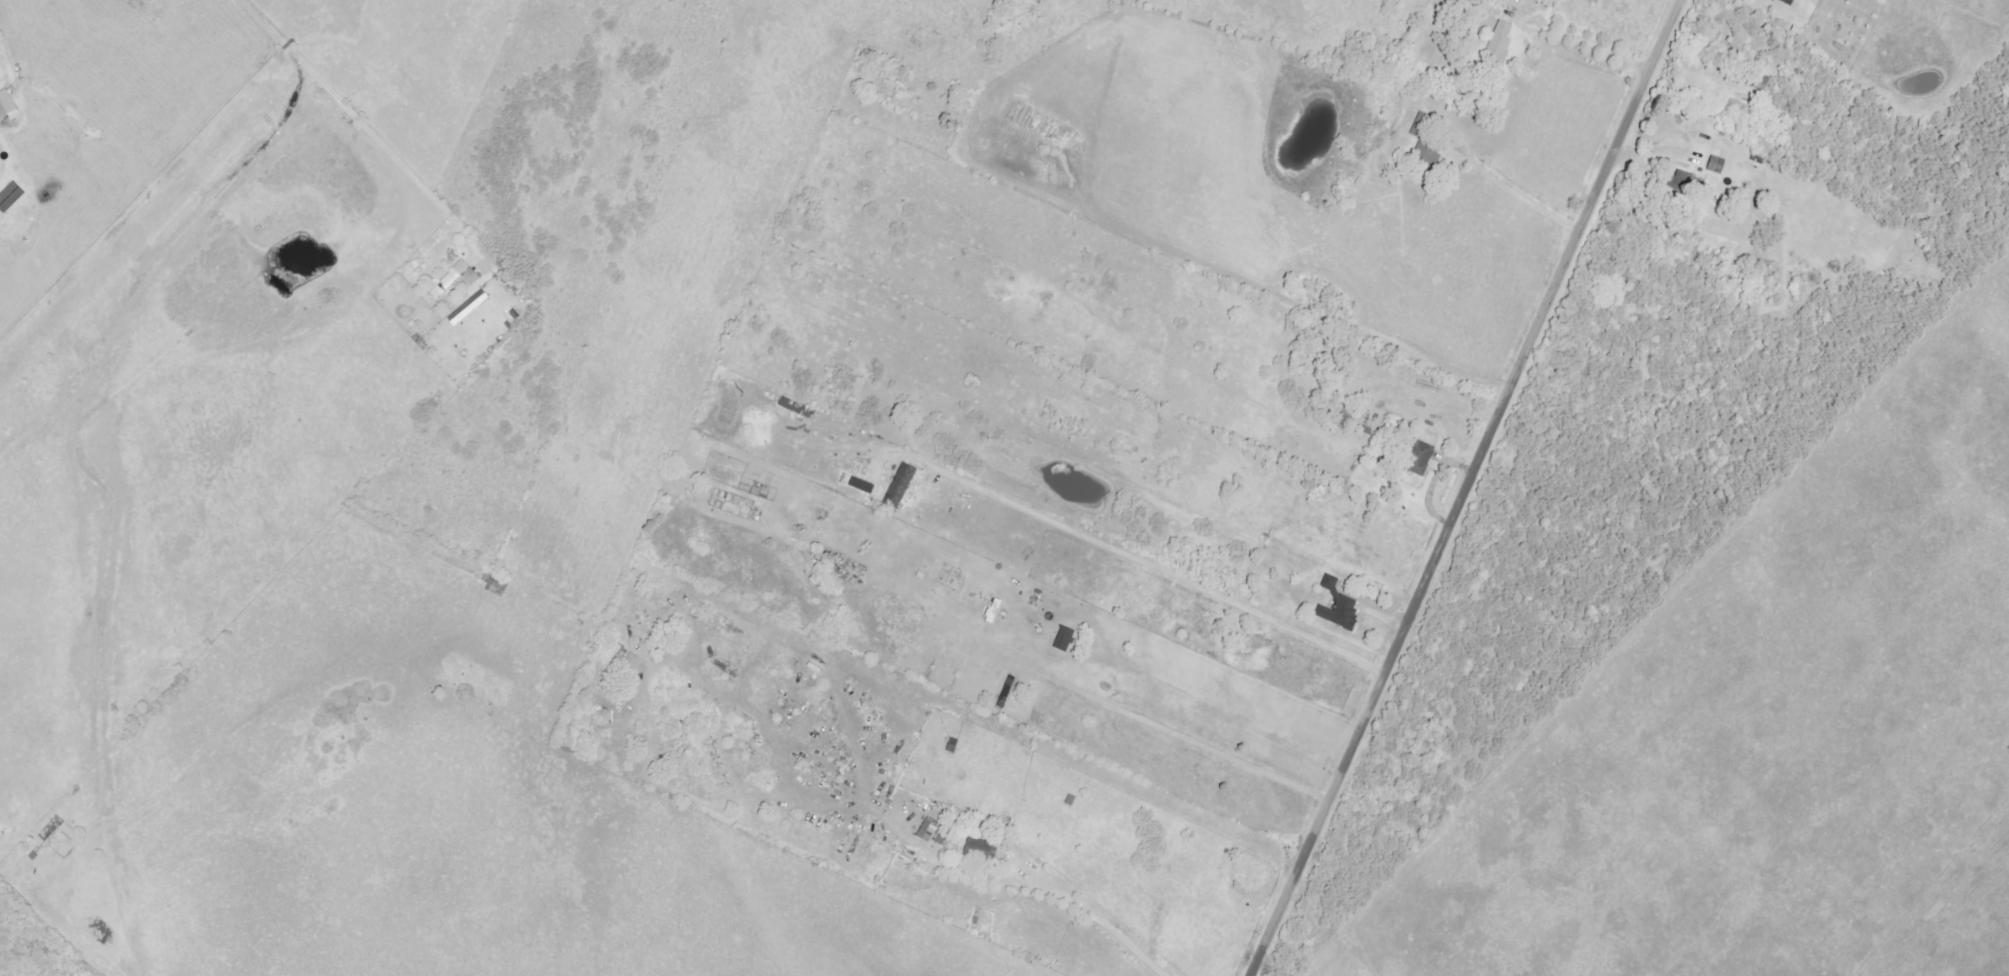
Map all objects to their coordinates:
road: (1787, 1)
road: (1584, 44)
building: (1497, 46)
building: (10, 106)
road: (347, 112)
road: (9, 153)
building: (1715, 165)
building: (1680, 179)
road: (1507, 192)
building: (13, 198)
building: (456, 279)
building: (798, 407)
building: (1423, 457)
road: (1429, 481)
building: (904, 485)
road: (1468, 488)
road: (1122, 551)
building: (499, 586)
building: (1342, 606)
building: (995, 610)
building: (1067, 638)
road: (1188, 739)
building: (931, 829)
building: (982, 847)
road: (1051, 895)

